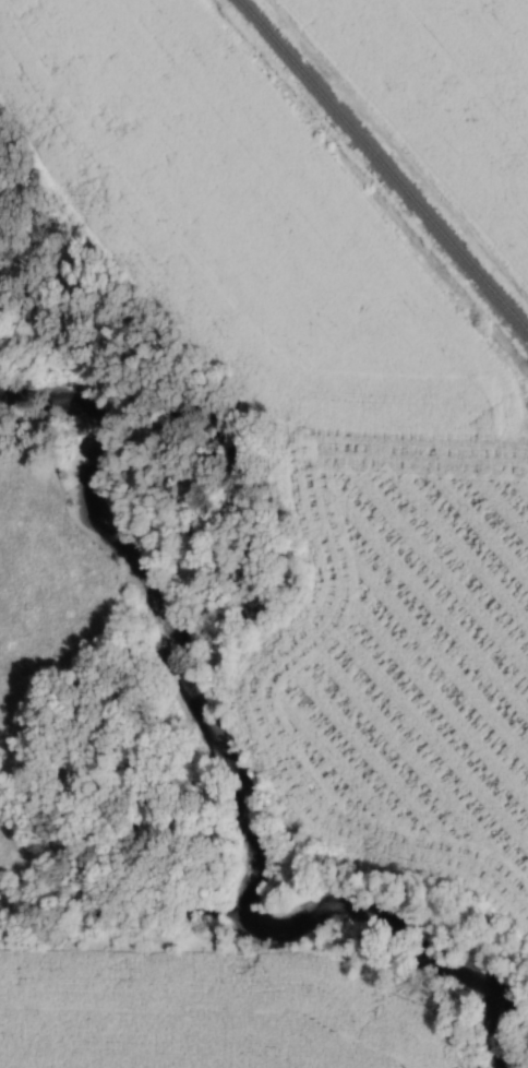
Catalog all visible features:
railway: (403, 154)

